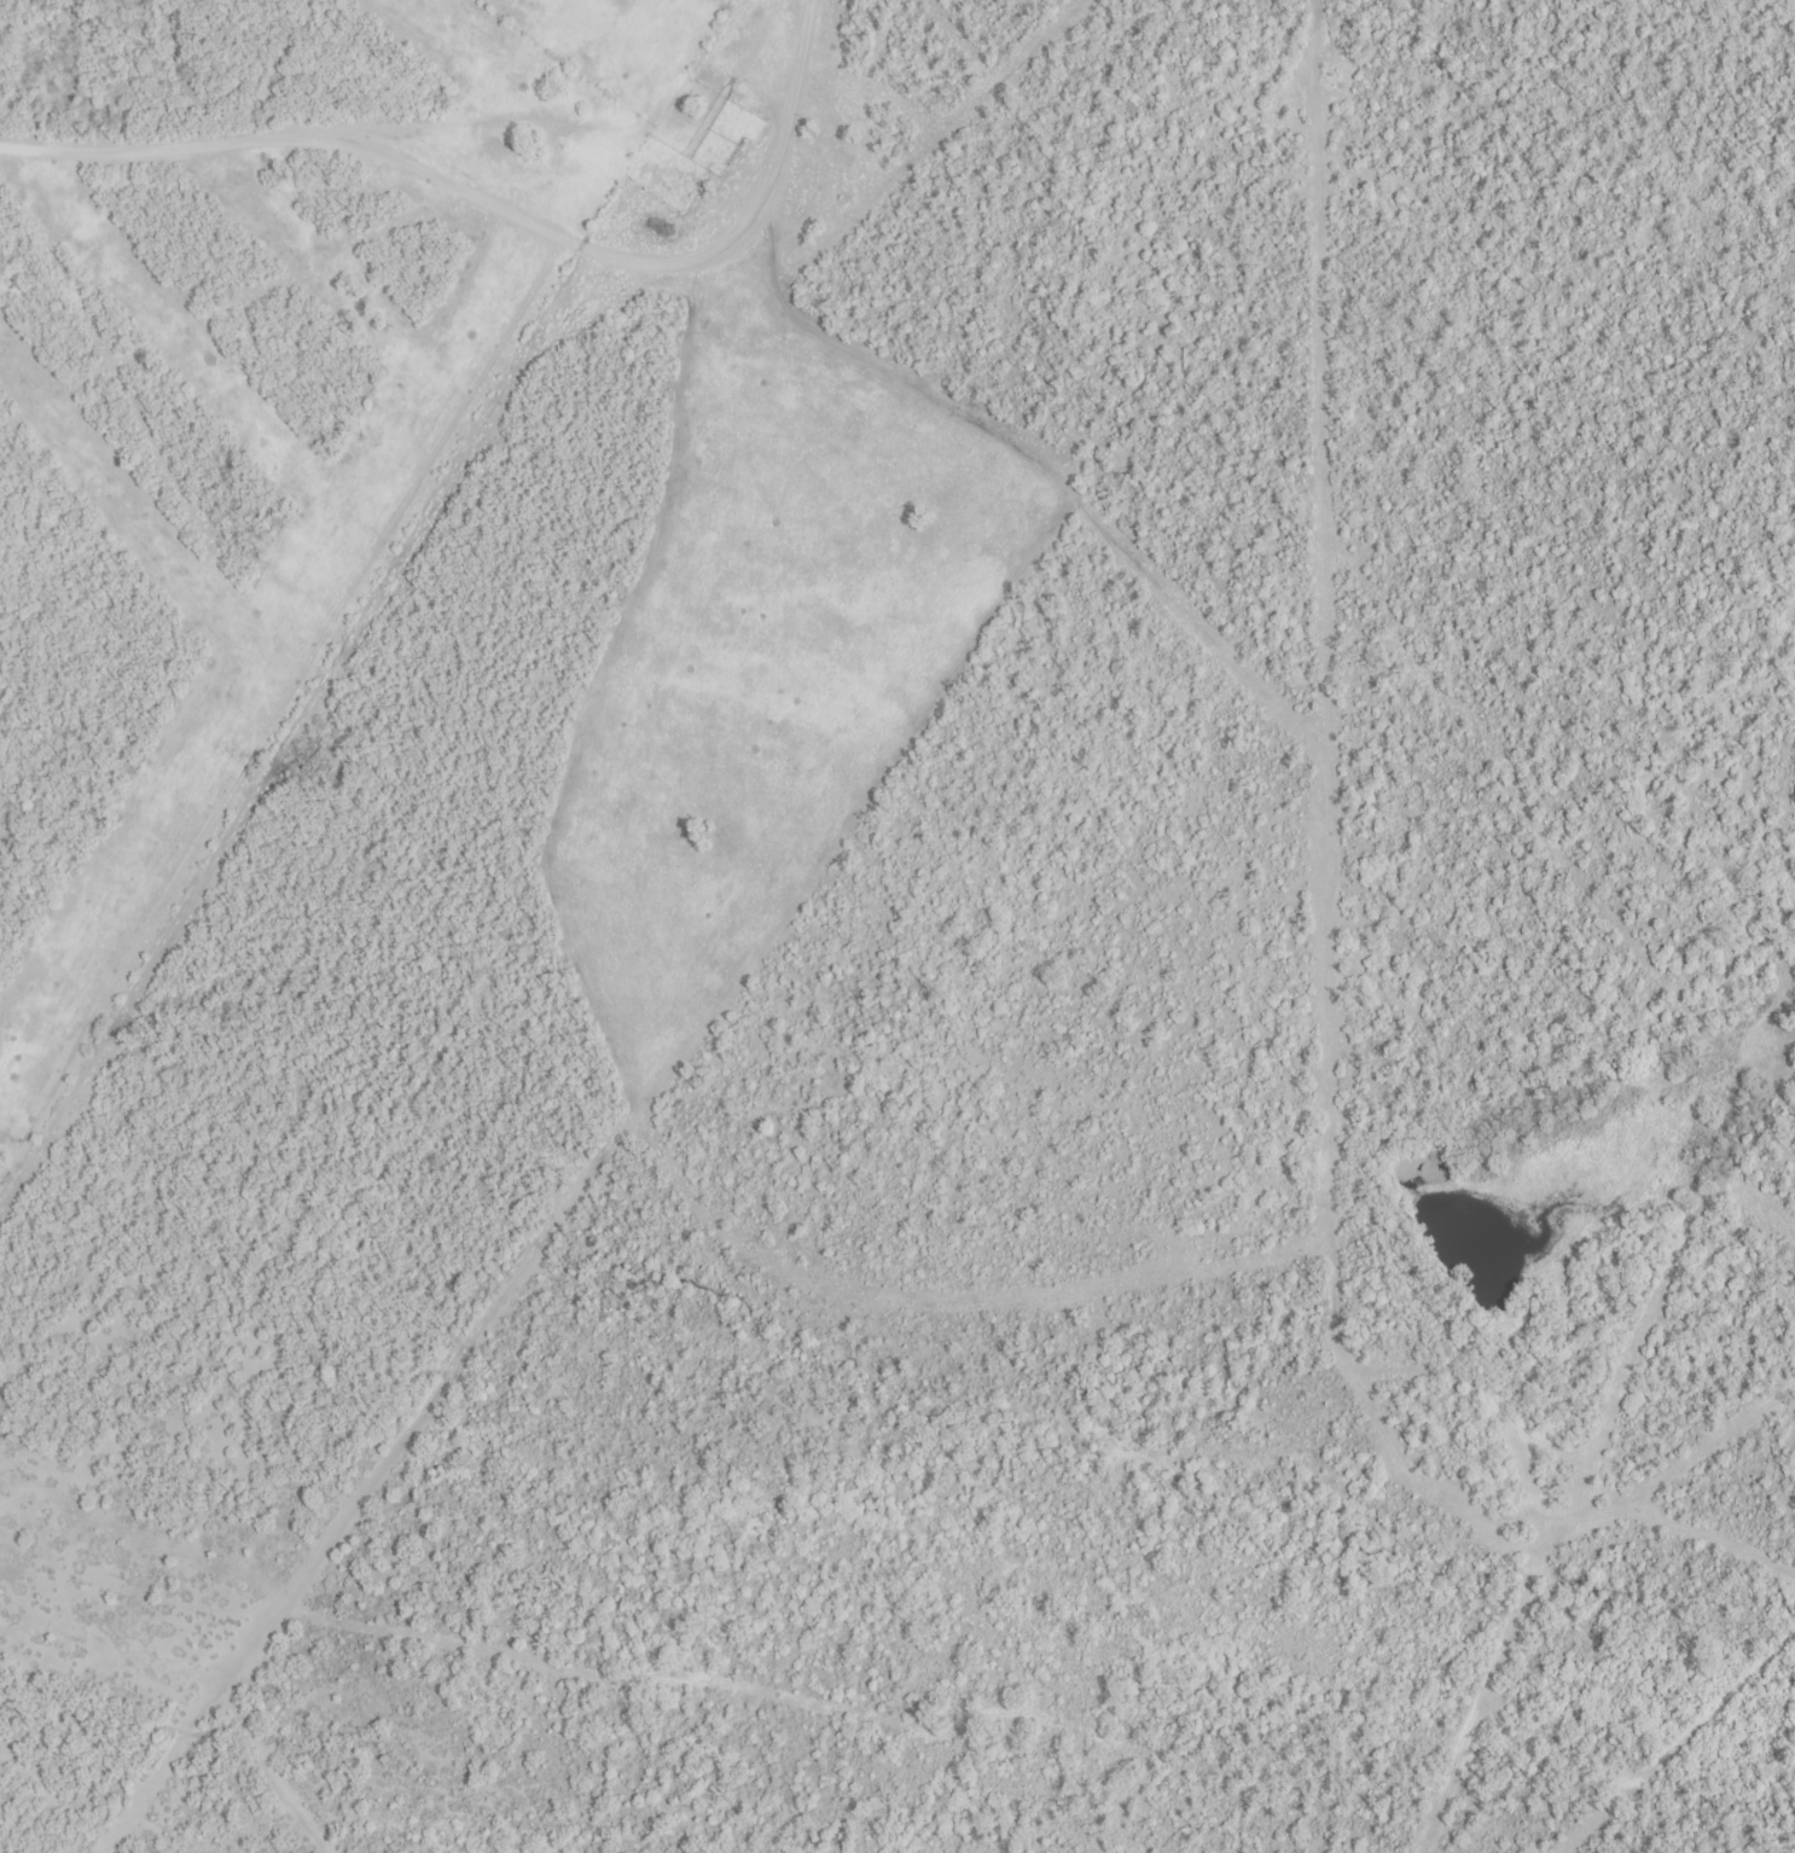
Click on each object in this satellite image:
road: (503, 202)

